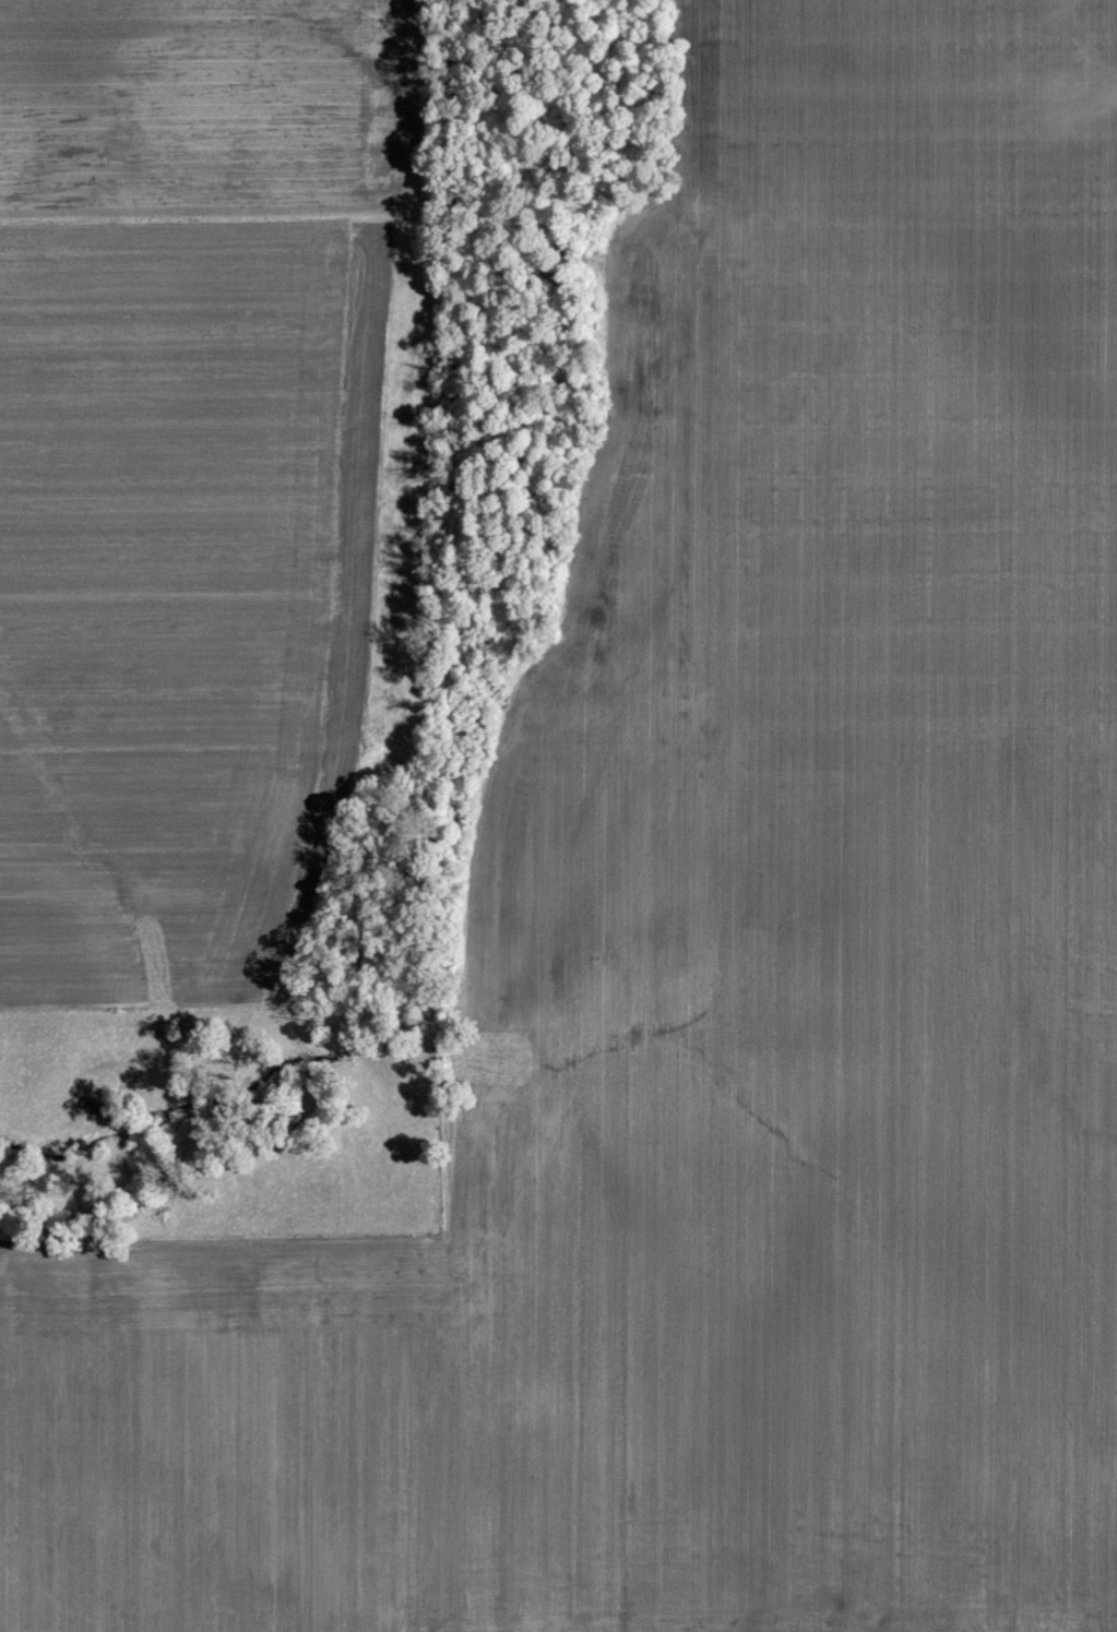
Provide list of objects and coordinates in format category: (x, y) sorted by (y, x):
crop: (203, 472)
crop: (721, 958)

